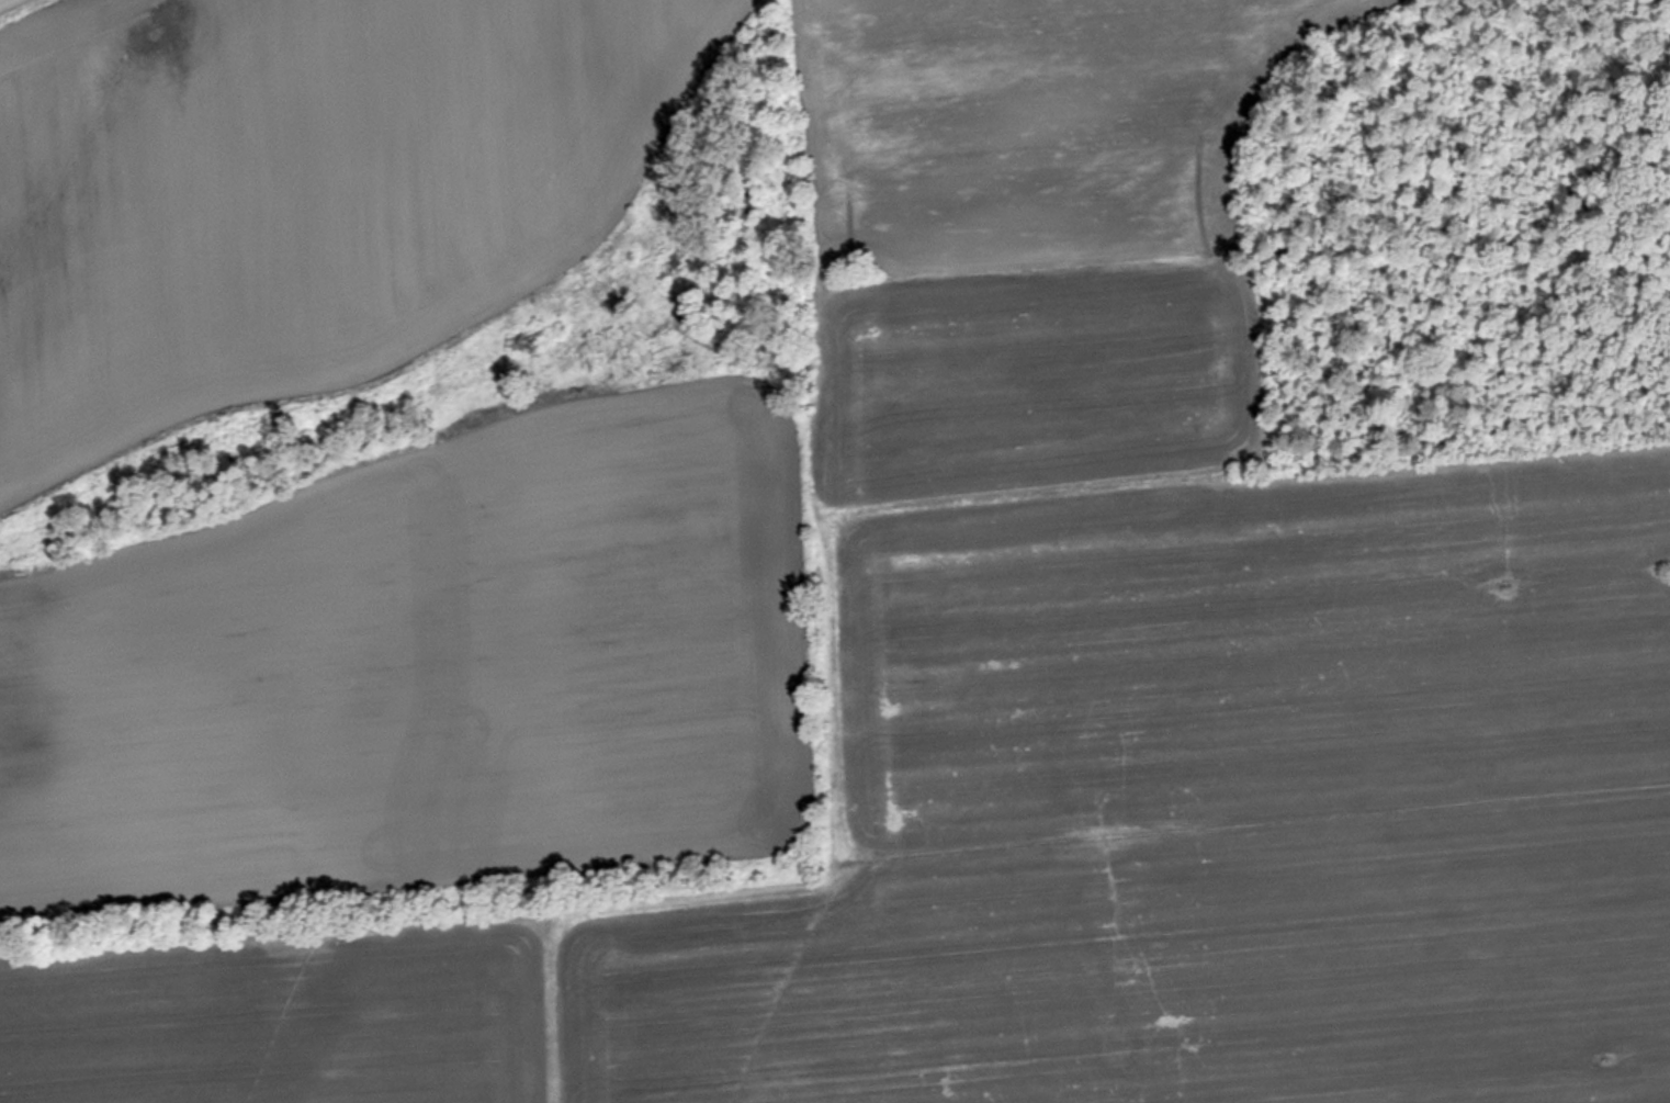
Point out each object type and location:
road: (13, 5)

